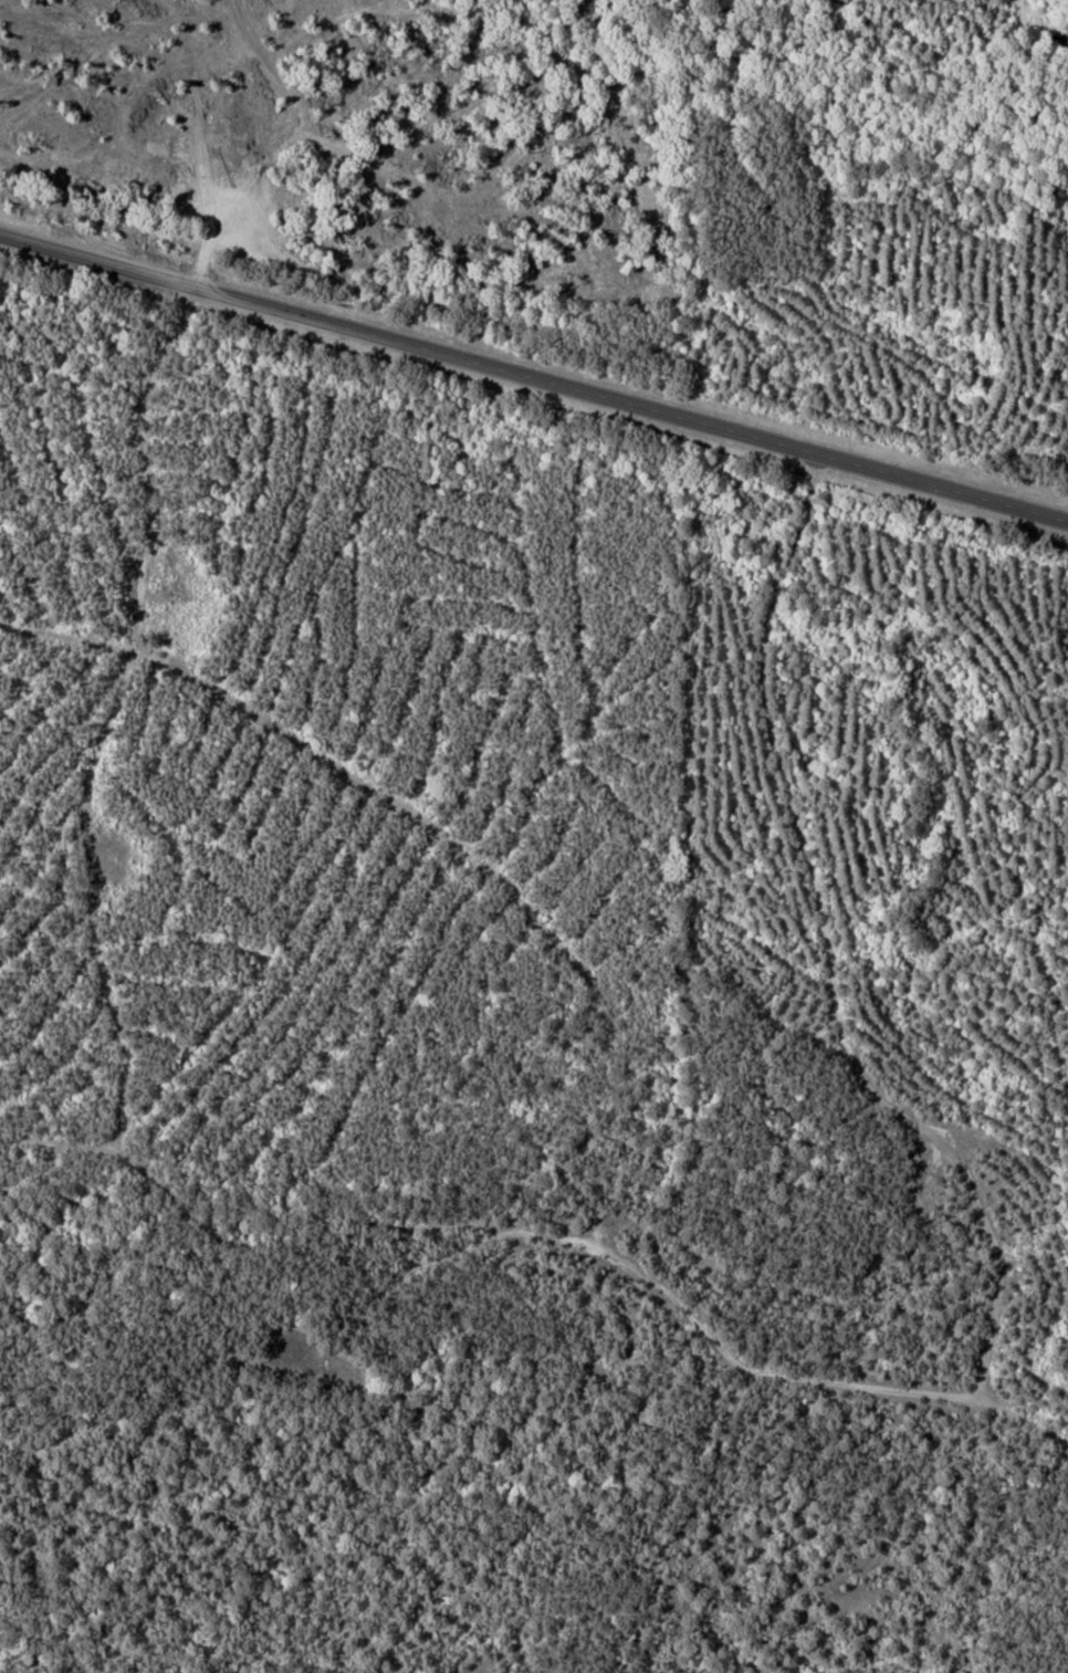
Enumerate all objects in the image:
road: (534, 375)

